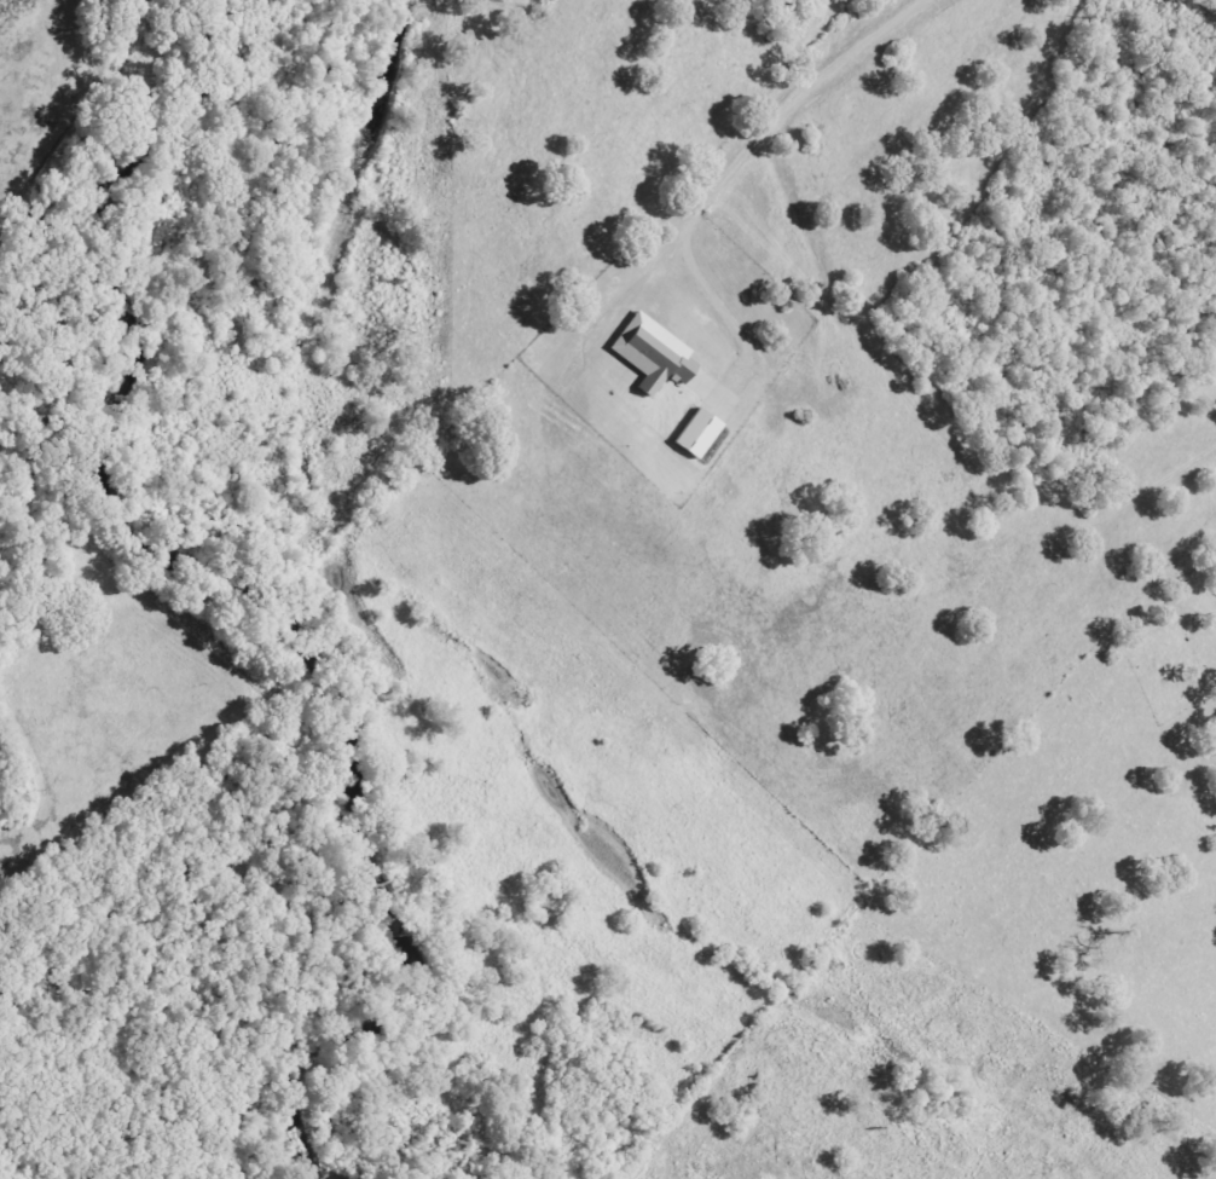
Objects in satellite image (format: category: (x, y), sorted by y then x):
road: (748, 145)
building: (650, 356)
building: (696, 435)

